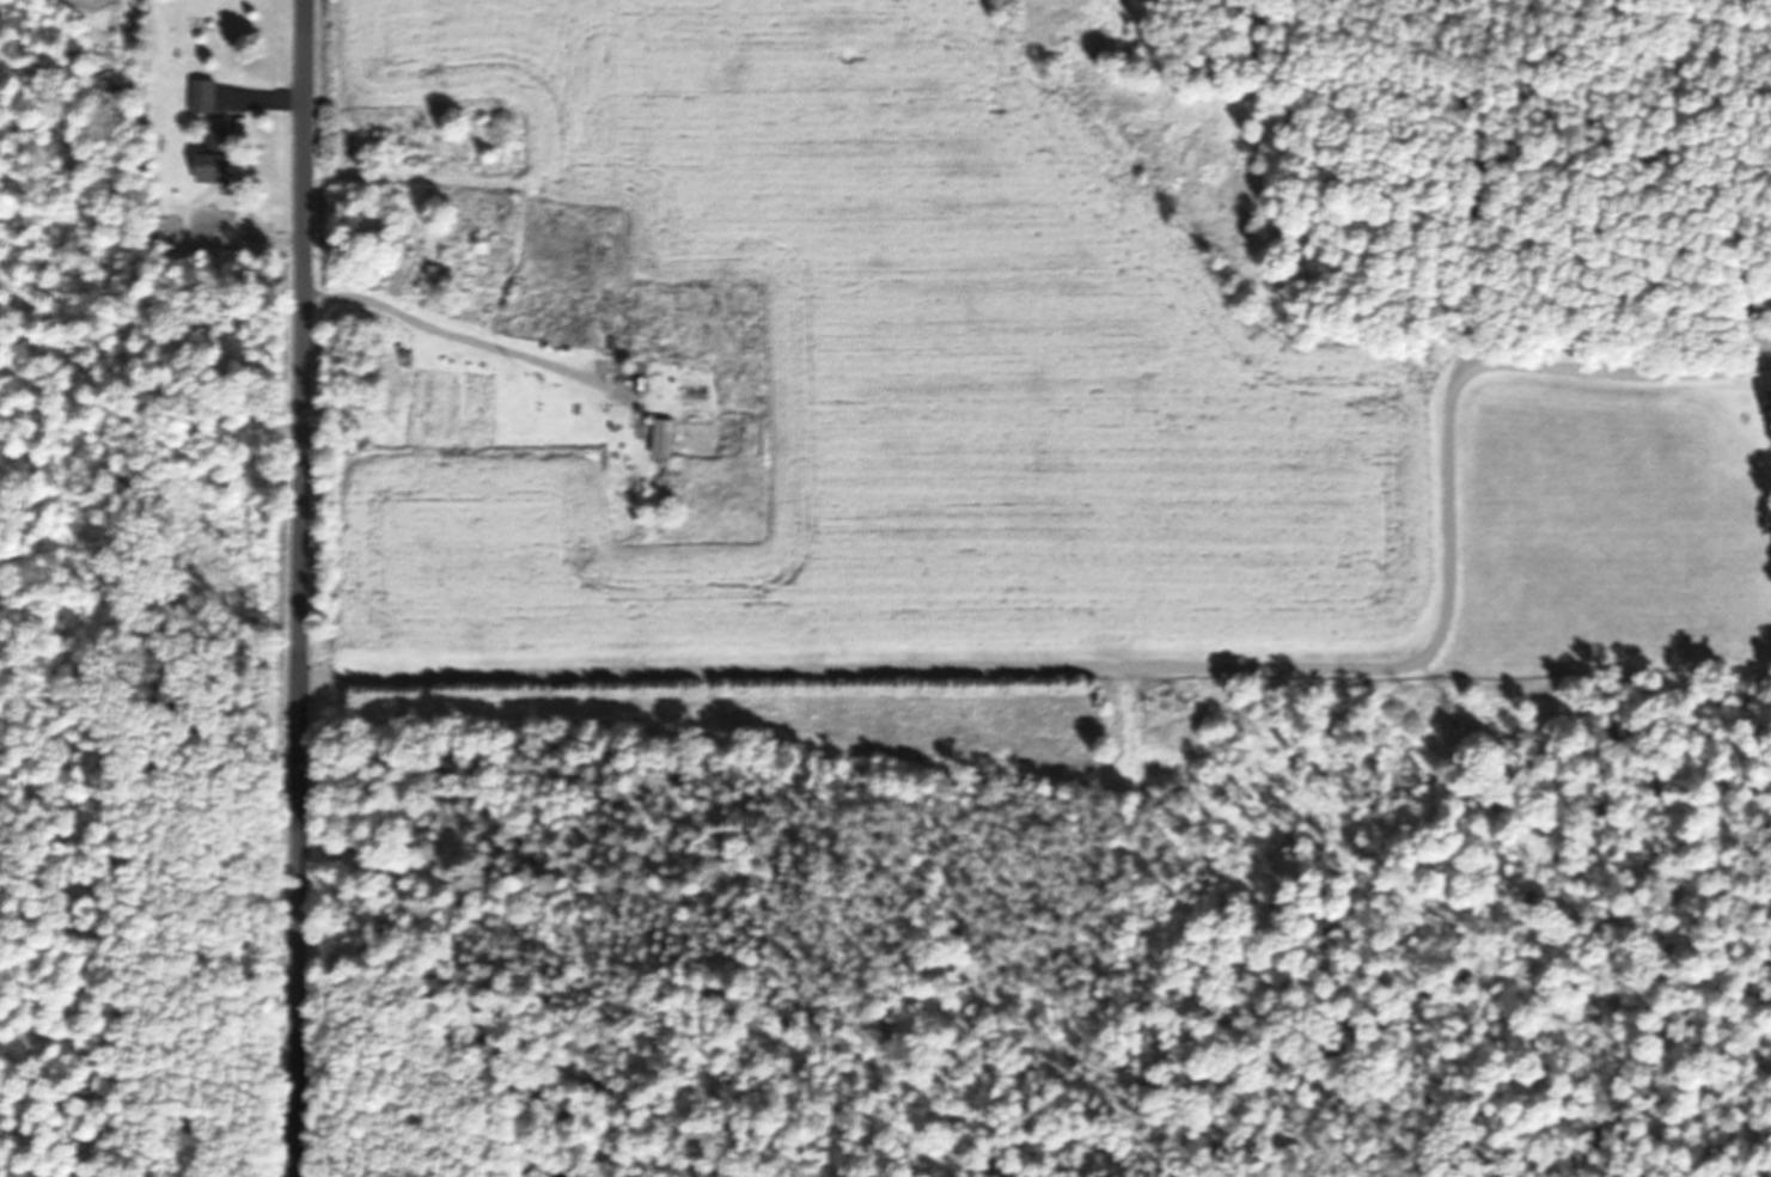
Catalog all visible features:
building: (204, 96)
building: (218, 160)
building: (1770, 366)
crop: (810, 371)
building: (668, 438)
road: (300, 588)

